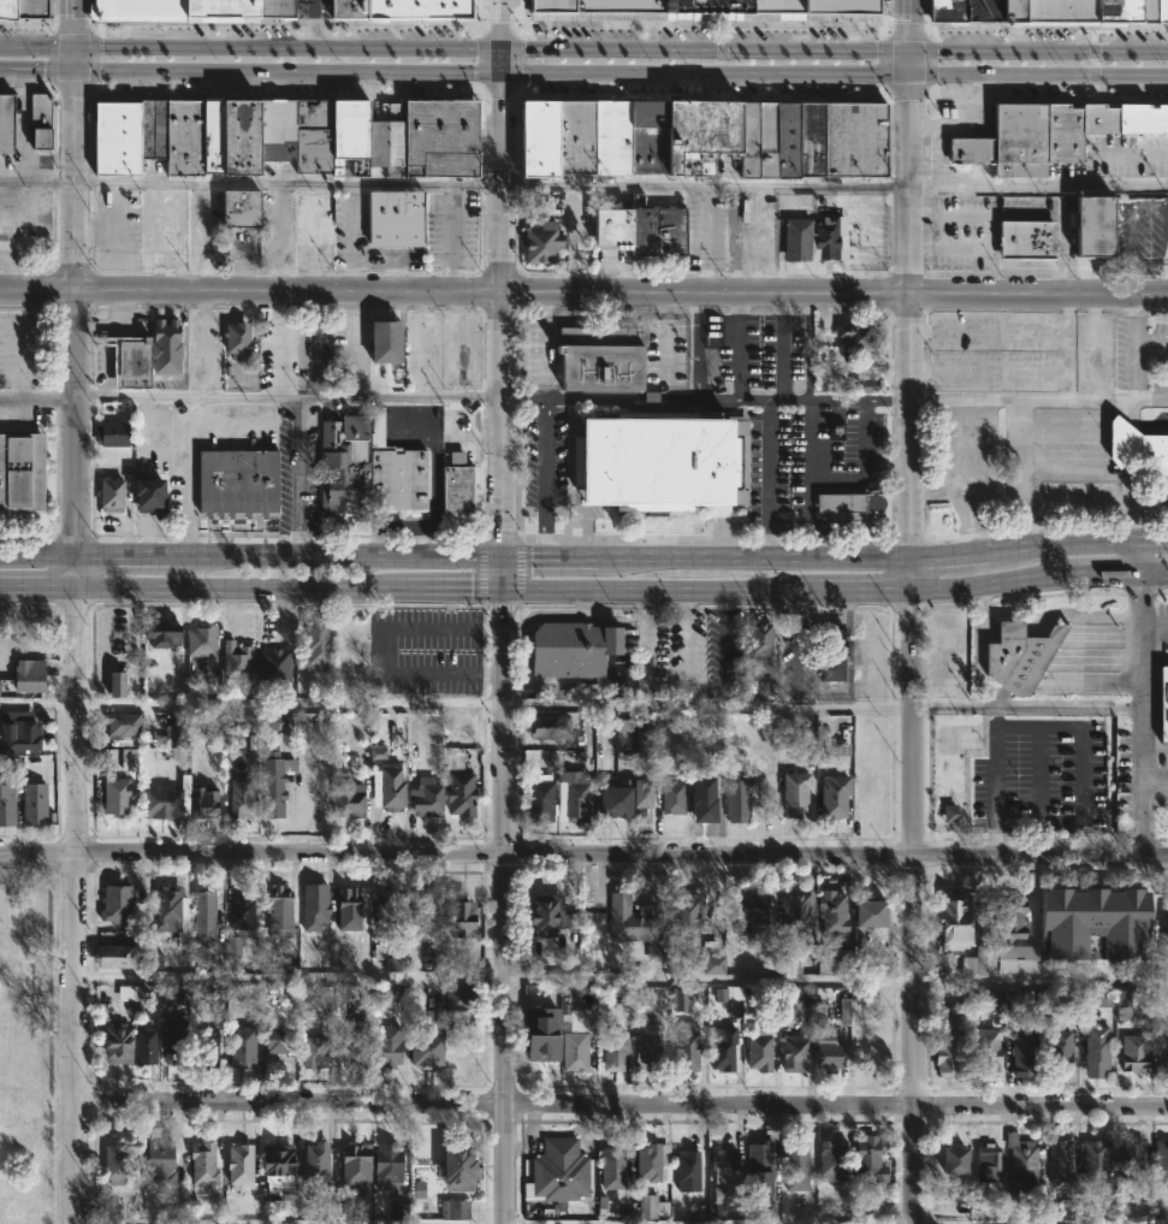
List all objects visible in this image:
building: (594, 6)
building: (702, 6)
building: (810, 6)
building: (267, 8)
building: (286, 8)
building: (348, 8)
building: (402, 8)
building: (5, 10)
building: (173, 10)
building: (445, 10)
building: (461, 10)
building: (31, 11)
building: (945, 11)
building: (983, 11)
building: (1012, 11)
building: (1060, 11)
building: (1110, 11)
building: (1132, 11)
building: (1148, 11)
building: (1161, 11)
road: (287, 22)
road: (707, 23)
road: (73, 24)
road: (312, 24)
road: (499, 25)
road: (1031, 26)
road: (931, 28)
road: (879, 29)
road: (498, 30)
road: (906, 31)
road: (36, 48)
traffic signals: (73, 49)
road: (286, 49)
traffic signals: (499, 51)
road: (601, 51)
traffic signals: (909, 52)
road: (936, 52)
road: (72, 59)
road: (482, 59)
road: (515, 59)
road: (927, 59)
road: (705, 60)
road: (499, 61)
road: (883, 61)
road: (1093, 63)
road: (35, 70)
traffic signals: (71, 70)
road: (285, 70)
traffic signals: (499, 72)
road: (603, 72)
traffic signals: (909, 75)
road: (937, 75)
road: (51, 87)
road: (498, 89)
road: (905, 90)
road: (286, 95)
road: (699, 96)
road: (1042, 99)
building: (1142, 118)
building: (1098, 119)
building: (38, 122)
building: (5, 123)
building: (144, 129)
building: (158, 129)
building: (274, 131)
building: (1038, 131)
building: (1054, 132)
building: (1071, 132)
building: (699, 135)
building: (194, 136)
building: (312, 136)
building: (349, 136)
building: (171, 137)
building: (183, 137)
building: (209, 137)
building: (238, 137)
building: (575, 137)
building: (611, 137)
building: (647, 137)
building: (114, 138)
building: (386, 138)
building: (439, 138)
building: (539, 138)
building: (810, 138)
building: (854, 138)
building: (748, 140)
building: (766, 140)
building: (787, 141)
building: (1014, 141)
building: (967, 150)
road: (35, 179)
road: (285, 184)
road: (704, 184)
road: (1038, 189)
building: (241, 208)
road: (950, 214)
building: (393, 218)
road: (1061, 220)
building: (1092, 226)
building: (641, 230)
road: (71, 231)
road: (992, 231)
building: (825, 237)
road: (350, 238)
road: (701, 238)
road: (757, 240)
building: (795, 240)
building: (1025, 240)
building: (17, 242)
building: (540, 243)
road: (950, 247)
road: (909, 267)
road: (1019, 267)
road: (11, 271)
road: (583, 292)
road: (500, 315)
building: (856, 336)
building: (235, 341)
building: (383, 342)
road: (204, 343)
road: (1151, 343)
road: (275, 344)
road: (695, 345)
building: (164, 347)
road: (737, 347)
road: (779, 347)
road: (807, 347)
road: (1092, 347)
parking lot: (995, 351)
building: (599, 357)
building: (126, 359)
road: (1133, 365)
road: (356, 374)
building: (865, 386)
road: (179, 395)
road: (432, 396)
road: (641, 396)
road: (524, 397)
road: (35, 398)
road: (758, 398)
road: (793, 398)
road: (858, 398)
road: (1020, 400)
road: (488, 422)
road: (1137, 426)
building: (836, 431)
building: (109, 433)
road: (433, 442)
building: (1138, 448)
road: (545, 455)
road: (807, 460)
building: (652, 463)
road: (866, 466)
building: (342, 467)
building: (19, 471)
road: (186, 473)
road: (968, 473)
road: (296, 474)
building: (393, 474)
road: (71, 475)
road: (1020, 475)
road: (1107, 475)
road: (766, 479)
building: (237, 481)
building: (457, 486)
building: (108, 495)
building: (148, 495)
road: (1150, 496)
road: (970, 497)
building: (849, 502)
road: (785, 520)
road: (813, 526)
road: (432, 532)
road: (544, 536)
road: (1079, 544)
road: (1150, 544)
road: (818, 546)
road: (968, 556)
road: (1133, 557)
road: (35, 560)
road: (129, 560)
road: (344, 560)
traffic signals: (503, 560)
road: (553, 560)
road: (686, 560)
road: (838, 560)
road: (911, 560)
road: (1151, 572)
road: (1105, 573)
road: (72, 574)
road: (503, 574)
road: (994, 584)
road: (36, 586)
road: (862, 586)
road: (658, 587)
road: (239, 589)
road: (453, 589)
traffic signals: (503, 589)
road: (1134, 598)
road: (1077, 614)
road: (1009, 631)
road: (988, 633)
building: (161, 634)
road: (722, 639)
building: (200, 640)
road: (688, 640)
building: (759, 643)
building: (315, 646)
road: (977, 646)
road: (384, 649)
building: (570, 649)
parking lot: (435, 650)
building: (830, 655)
building: (1018, 657)
building: (235, 660)
building: (274, 666)
building: (26, 676)
building: (115, 685)
road: (38, 699)
road: (1024, 703)
road: (707, 704)
building: (1164, 704)
road: (290, 705)
building: (274, 722)
road: (1136, 723)
building: (123, 725)
road: (1063, 727)
building: (546, 728)
building: (463, 729)
building: (18, 733)
building: (174, 734)
building: (642, 738)
building: (377, 753)
building: (128, 759)
building: (453, 759)
building: (11, 765)
building: (30, 769)
parking lot: (1036, 774)
road: (1151, 781)
building: (273, 782)
building: (386, 788)
building: (458, 794)
building: (642, 796)
building: (795, 796)
building: (239, 797)
building: (834, 797)
building: (117, 798)
building: (425, 798)
building: (672, 798)
building: (737, 798)
building: (162, 800)
building: (539, 802)
building: (575, 802)
building: (348, 803)
building: (613, 803)
building: (201, 804)
building: (704, 804)
building: (32, 805)
building: (6, 806)
building: (949, 814)
road: (583, 856)
building: (117, 901)
building: (166, 904)
road: (914, 904)
road: (75, 905)
building: (312, 905)
road: (505, 905)
building: (241, 906)
building: (351, 906)
building: (795, 907)
building: (383, 909)
building: (423, 909)
building: (279, 910)
building: (751, 911)
building: (834, 911)
building: (872, 911)
building: (545, 912)
building: (203, 915)
building: (460, 916)
building: (955, 918)
building: (1012, 918)
building: (1096, 920)
building: (684, 921)
building: (635, 926)
building: (1167, 933)
building: (232, 947)
building: (115, 954)
building: (831, 958)
building: (1016, 959)
building: (393, 960)
building: (980, 960)
building: (712, 964)
road: (710, 978)
road: (291, 980)
road: (1040, 982)
building: (131, 992)
building: (217, 992)
building: (731, 993)
building: (461, 997)
building: (644, 998)
building: (1063, 998)
building: (1125, 998)
building: (988, 1000)
building: (681, 1001)
building: (843, 1011)
building: (575, 1036)
building: (173, 1039)
building: (278, 1040)
building: (350, 1041)
building: (114, 1042)
building: (647, 1043)
building: (143, 1045)
building: (387, 1045)
building: (536, 1045)
building: (242, 1046)
building: (204, 1047)
building: (722, 1047)
building: (1057, 1047)
building: (684, 1048)
building: (757, 1048)
building: (423, 1049)
building: (826, 1049)
building: (1096, 1049)
building: (313, 1051)
building: (615, 1051)
building: (1022, 1051)
building: (794, 1052)
building: (985, 1052)
building: (1134, 1052)
building: (945, 1053)
building: (1163, 1057)
road: (621, 1107)
building: (989, 1154)
building: (867, 1159)
building: (955, 1159)
building: (1095, 1159)
building: (1131, 1159)
building: (313, 1160)
building: (1161, 1160)
building: (830, 1161)
building: (202, 1163)
building: (237, 1163)
building: (650, 1163)
building: (722, 1163)
building: (113, 1164)
building: (387, 1164)
building: (615, 1164)
building: (158, 1165)
building: (458, 1165)
building: (794, 1165)
building: (1059, 1165)
building: (1022, 1166)
building: (757, 1167)
building: (688, 1169)
building: (277, 1172)
building: (556, 1172)
building: (356, 1173)
building: (866, 1204)
building: (651, 1206)
building: (455, 1208)
building: (1014, 1208)
building: (1068, 1208)

